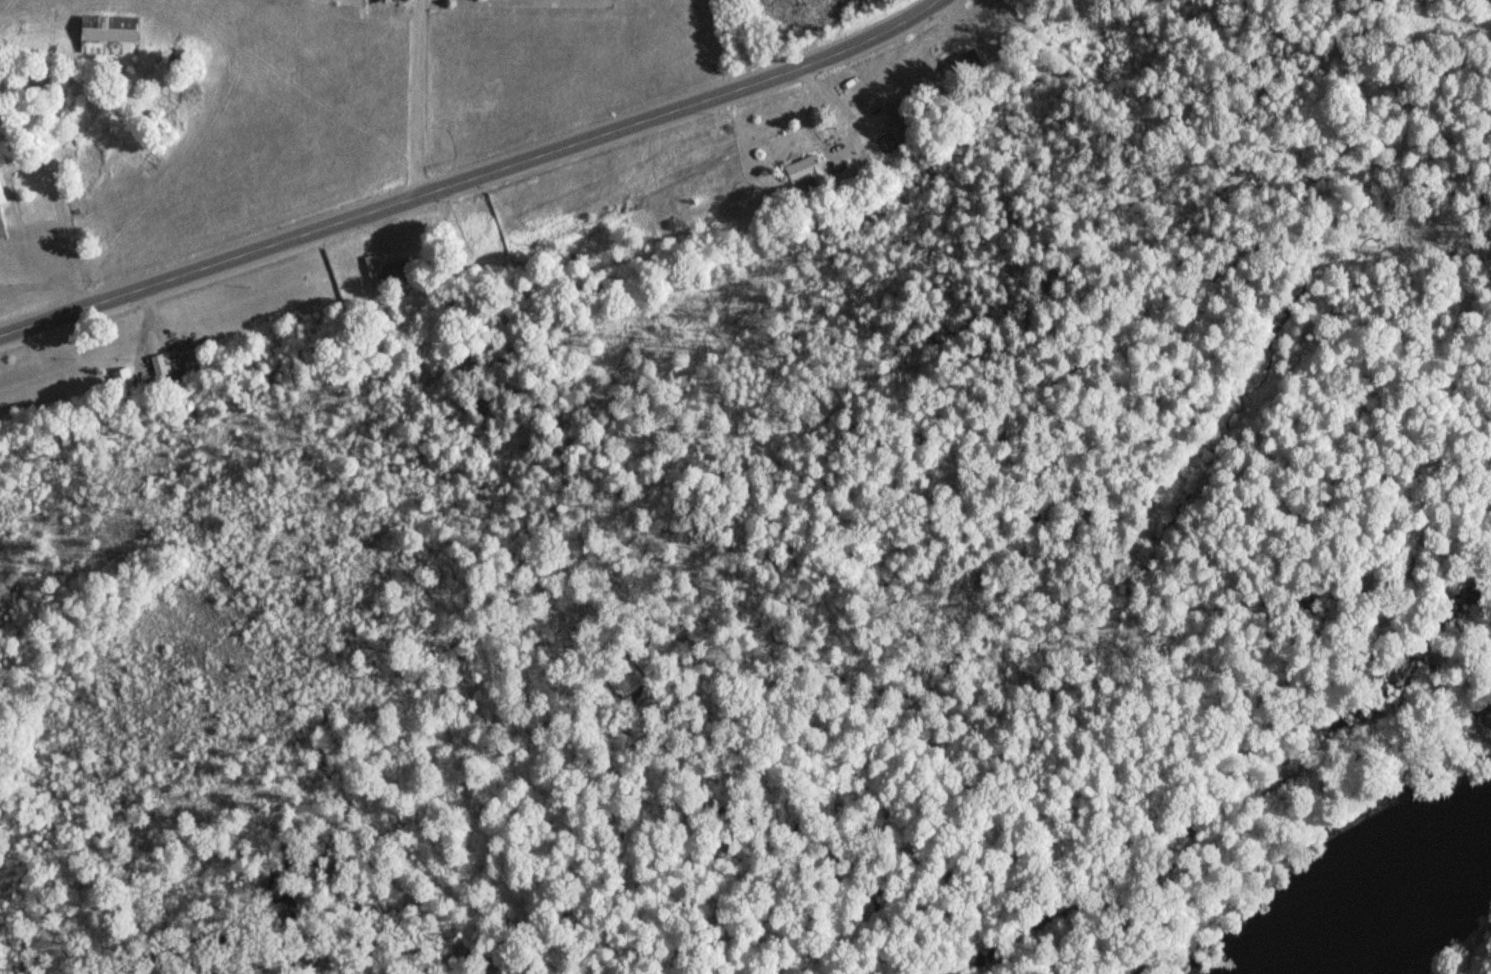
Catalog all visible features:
building: (114, 35)
road: (412, 100)
building: (898, 112)
building: (807, 169)
road: (473, 179)
building: (3, 194)
building: (397, 271)
building: (372, 276)
river: (1403, 904)

